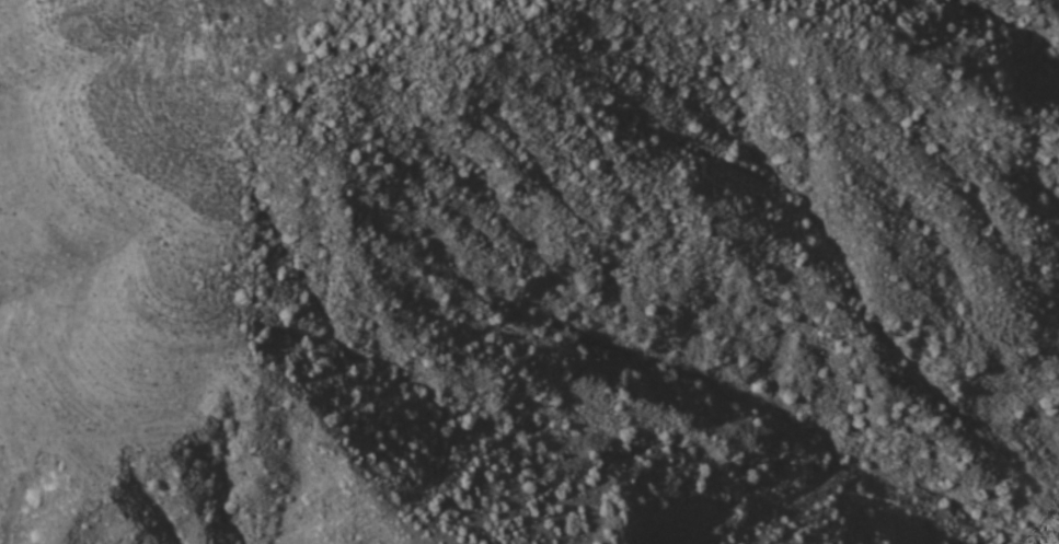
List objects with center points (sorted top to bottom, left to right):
quarry: (160, 297)

